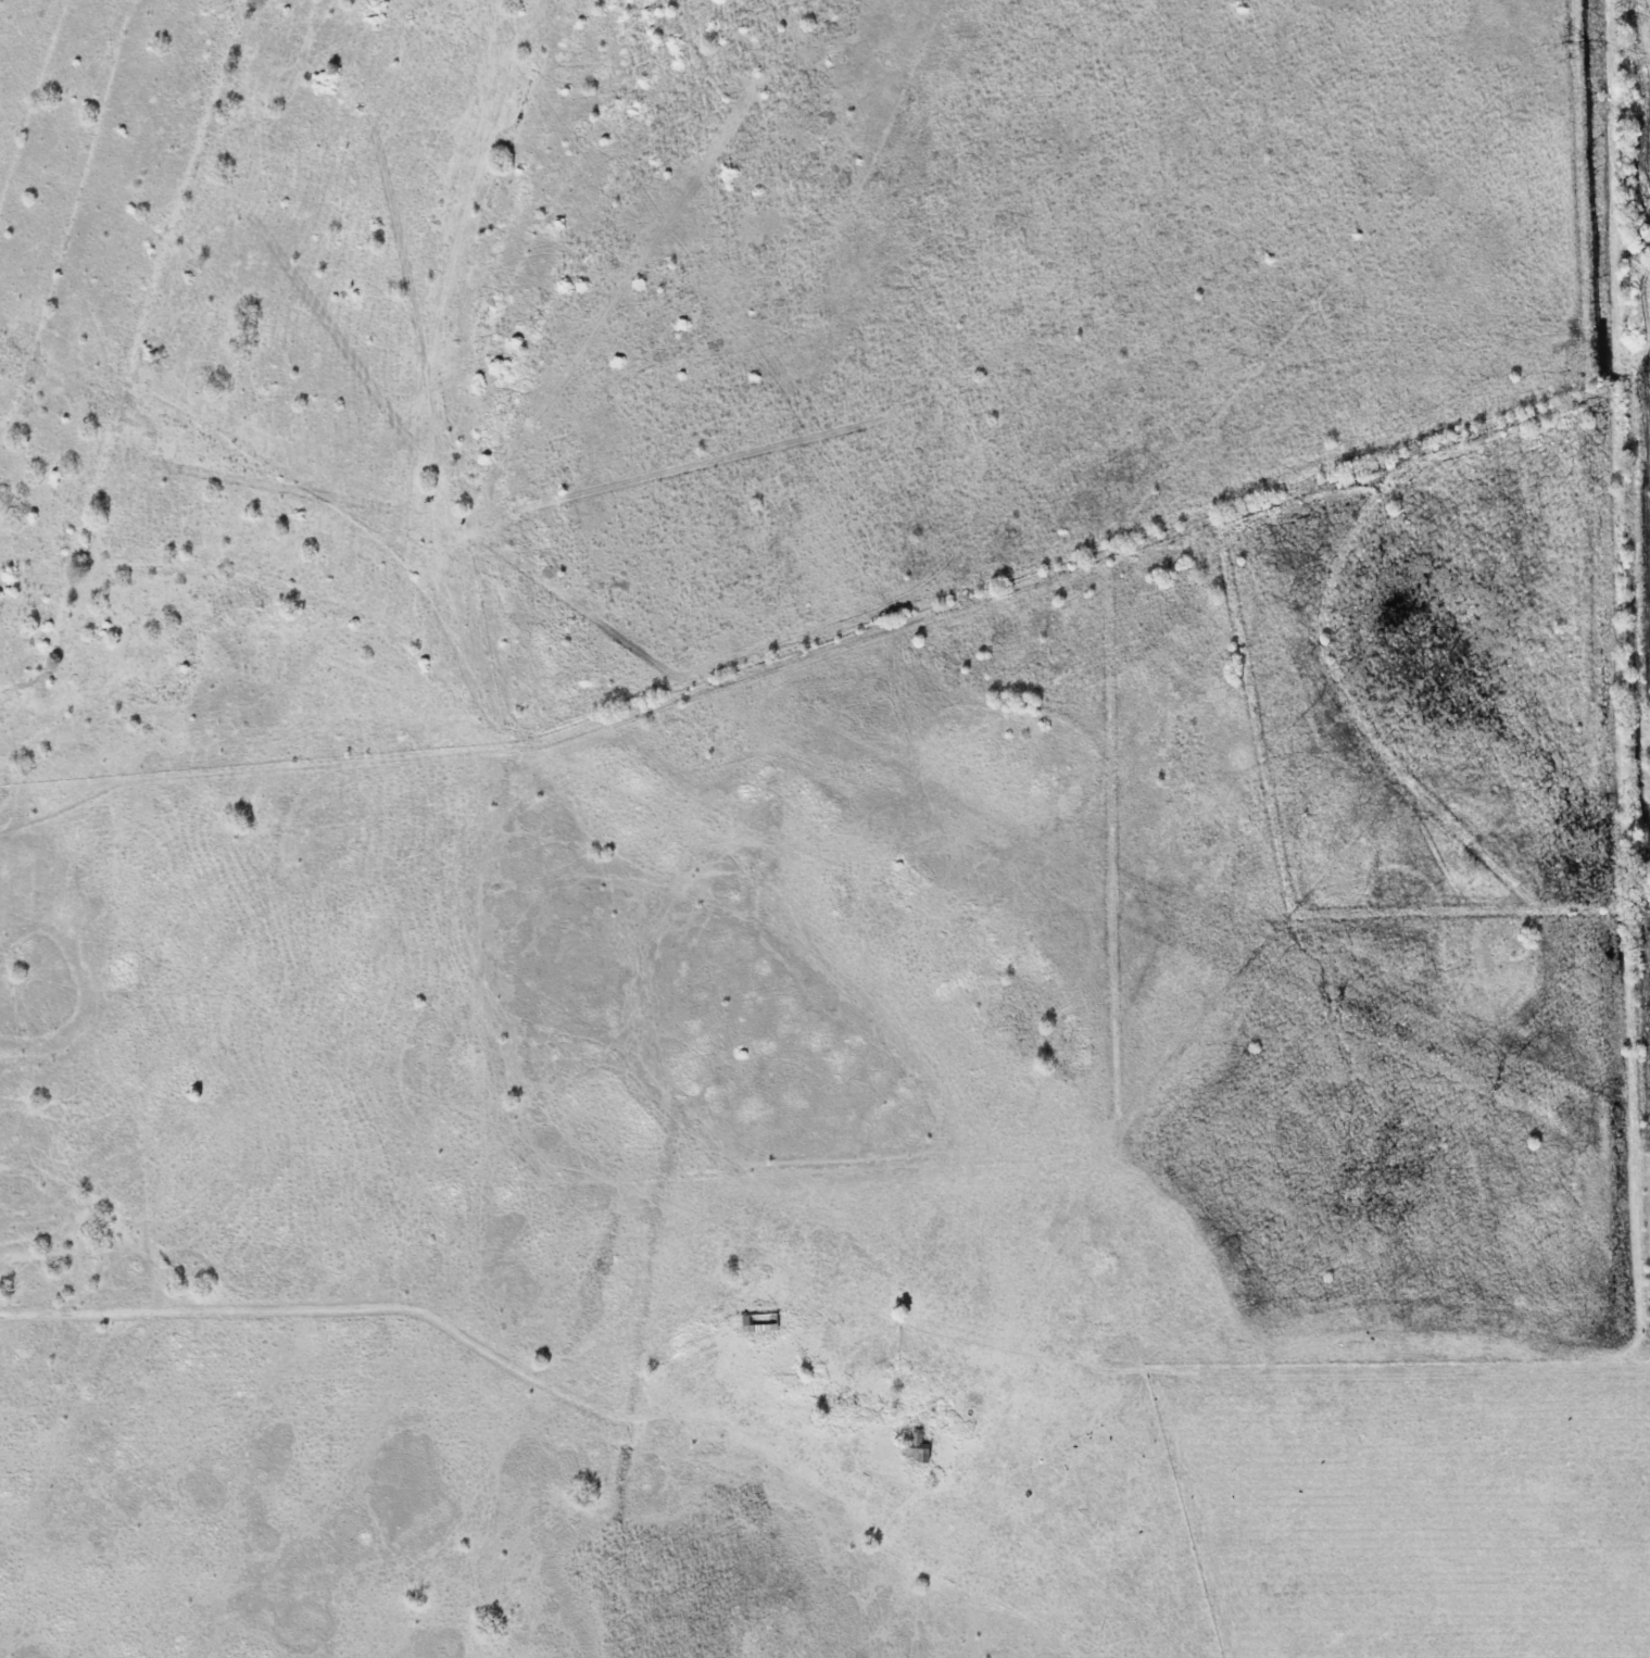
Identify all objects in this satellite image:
building: (754, 1322)

